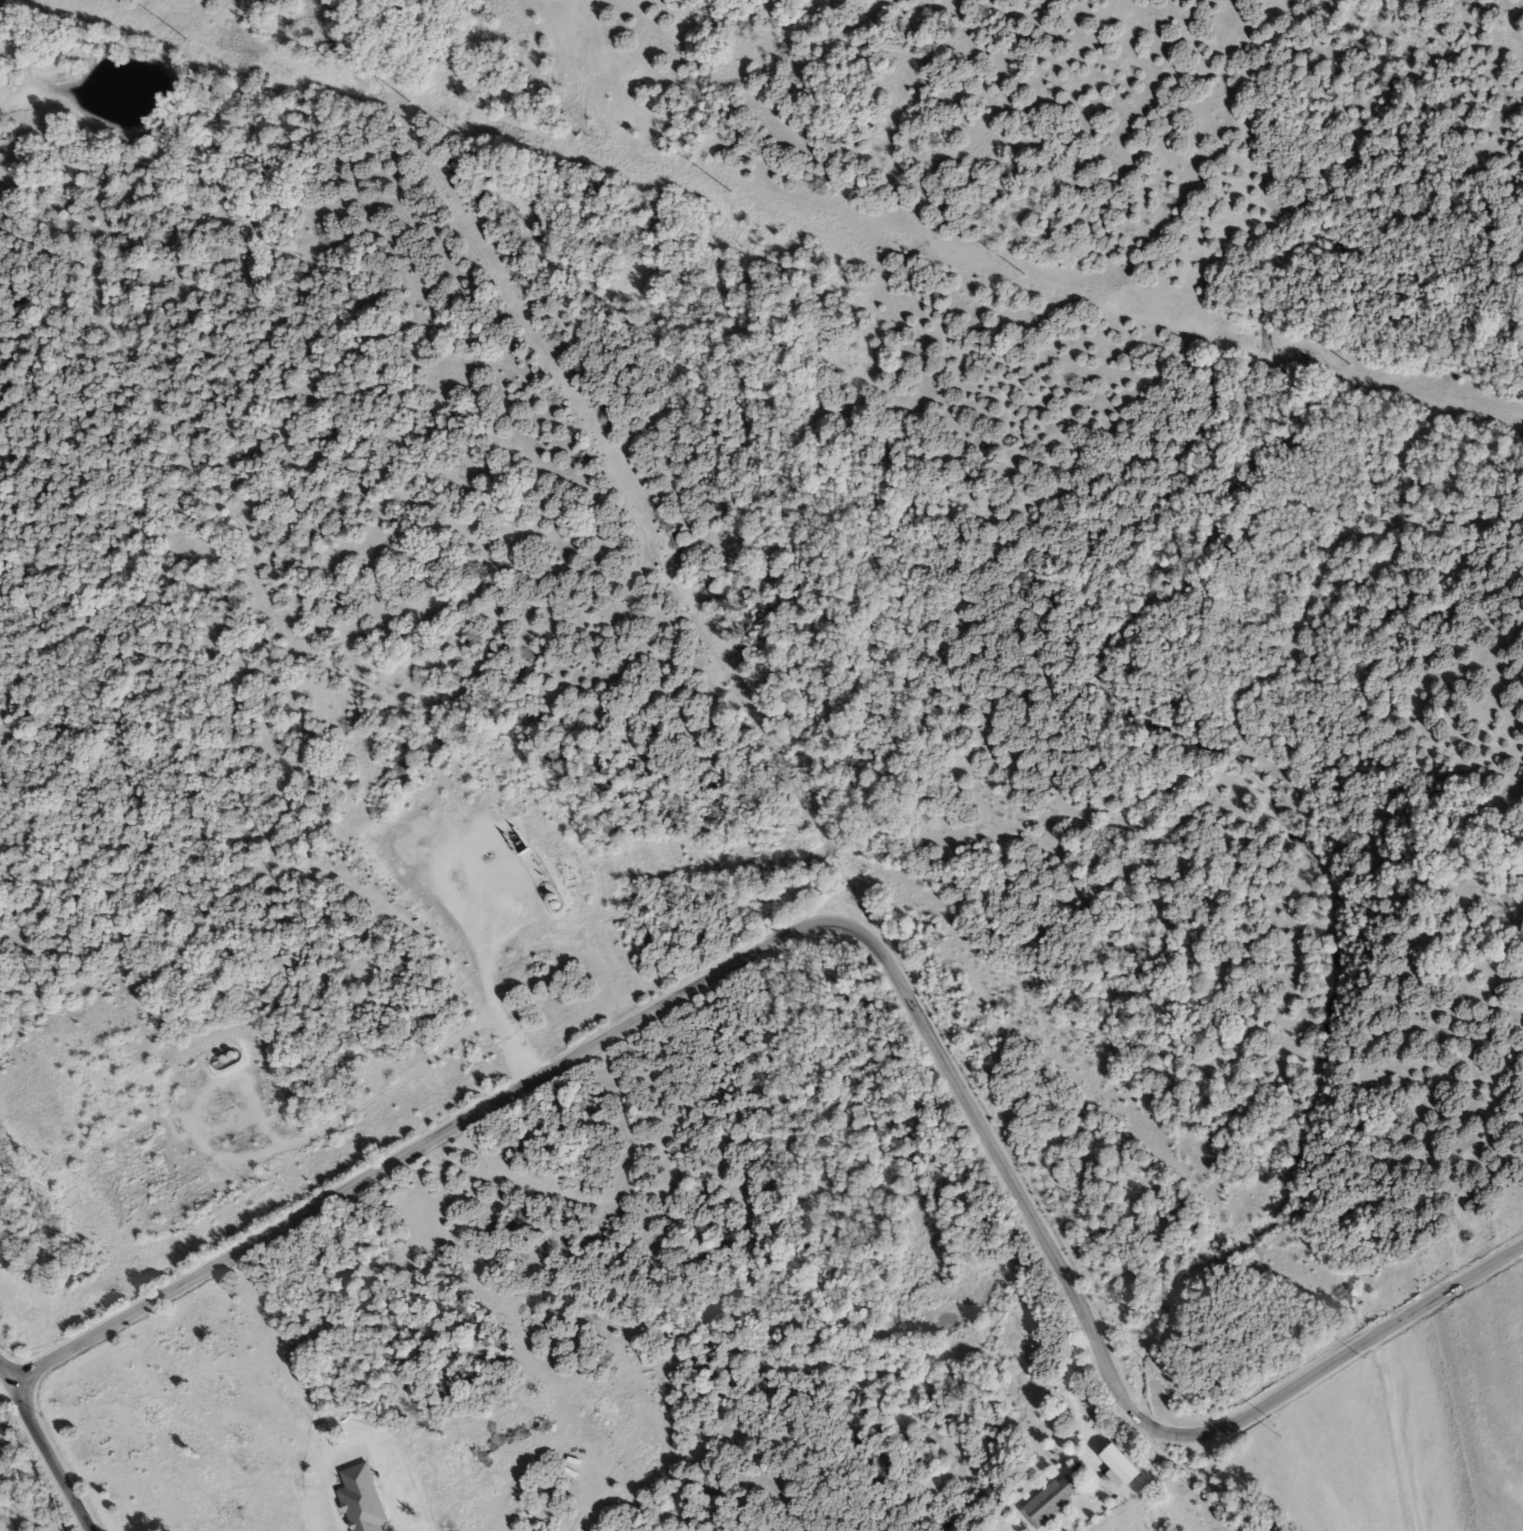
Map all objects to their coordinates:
road: (869, 942)
road: (5, 1376)
road: (5, 1387)
road: (1077, 1400)
road: (1394, 1433)
road: (50, 1457)
building: (1055, 1502)

